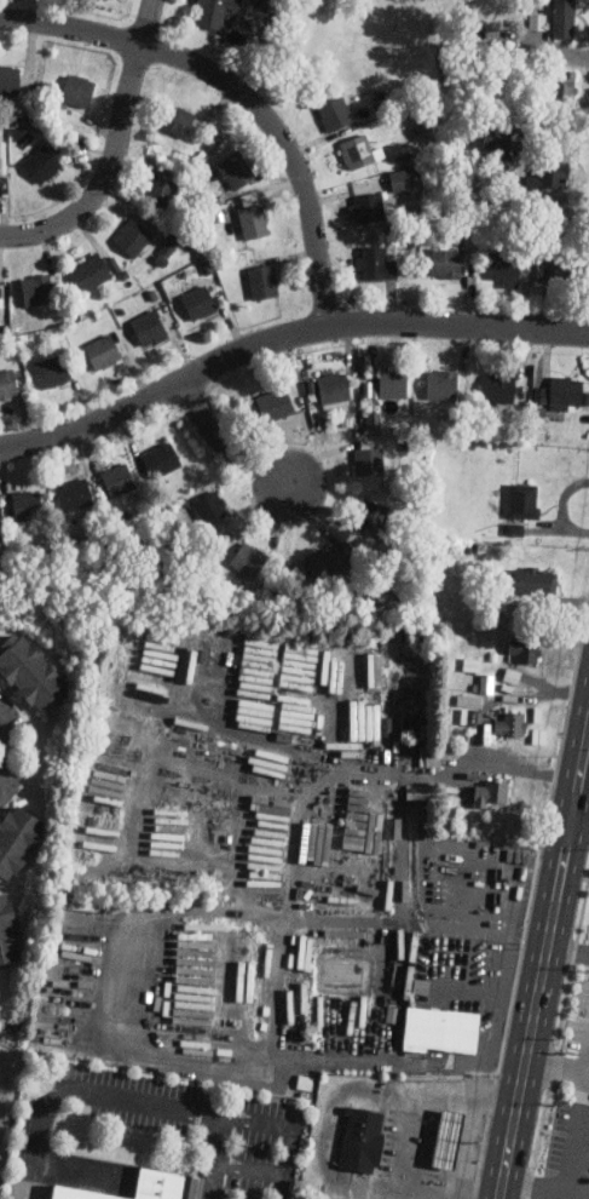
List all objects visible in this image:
building: (216, 12)
building: (564, 18)
building: (539, 19)
building: (10, 79)
building: (561, 86)
building: (77, 90)
road: (239, 92)
building: (336, 113)
building: (175, 120)
road: (115, 150)
building: (360, 151)
building: (42, 163)
building: (237, 168)
building: (552, 173)
building: (403, 178)
building: (160, 189)
building: (369, 207)
building: (254, 219)
building: (132, 236)
building: (169, 247)
building: (446, 258)
building: (379, 265)
building: (506, 266)
building: (571, 268)
building: (94, 270)
building: (264, 280)
building: (37, 289)
building: (1, 292)
building: (198, 302)
building: (148, 326)
road: (283, 338)
building: (103, 351)
building: (52, 371)
building: (391, 379)
building: (8, 383)
building: (441, 383)
building: (500, 388)
building: (334, 390)
building: (565, 391)
building: (543, 394)
building: (275, 403)
road: (227, 447)
building: (161, 459)
building: (370, 459)
building: (117, 478)
building: (74, 493)
building: (525, 500)
building: (25, 503)
building: (212, 506)
building: (371, 515)
building: (249, 558)
building: (328, 562)
building: (533, 579)
building: (524, 649)
building: (374, 666)
building: (30, 672)
building: (512, 677)
building: (487, 682)
building: (152, 687)
building: (469, 699)
building: (254, 713)
building: (468, 715)
building: (370, 716)
building: (509, 722)
building: (539, 734)
road: (1, 736)
road: (4, 759)
road: (462, 767)
building: (492, 790)
building: (420, 791)
road: (582, 808)
building: (363, 821)
road: (301, 832)
building: (17, 838)
building: (321, 842)
building: (8, 930)
road: (568, 952)
road: (544, 966)
road: (120, 974)
building: (247, 981)
building: (440, 1028)
road: (558, 1067)
road: (168, 1105)
road: (577, 1136)
building: (451, 1140)
building: (362, 1141)
road: (215, 1157)
road: (249, 1165)
road: (75, 1170)
road: (23, 1180)
building: (166, 1184)
road: (545, 1189)
building: (80, 1194)

